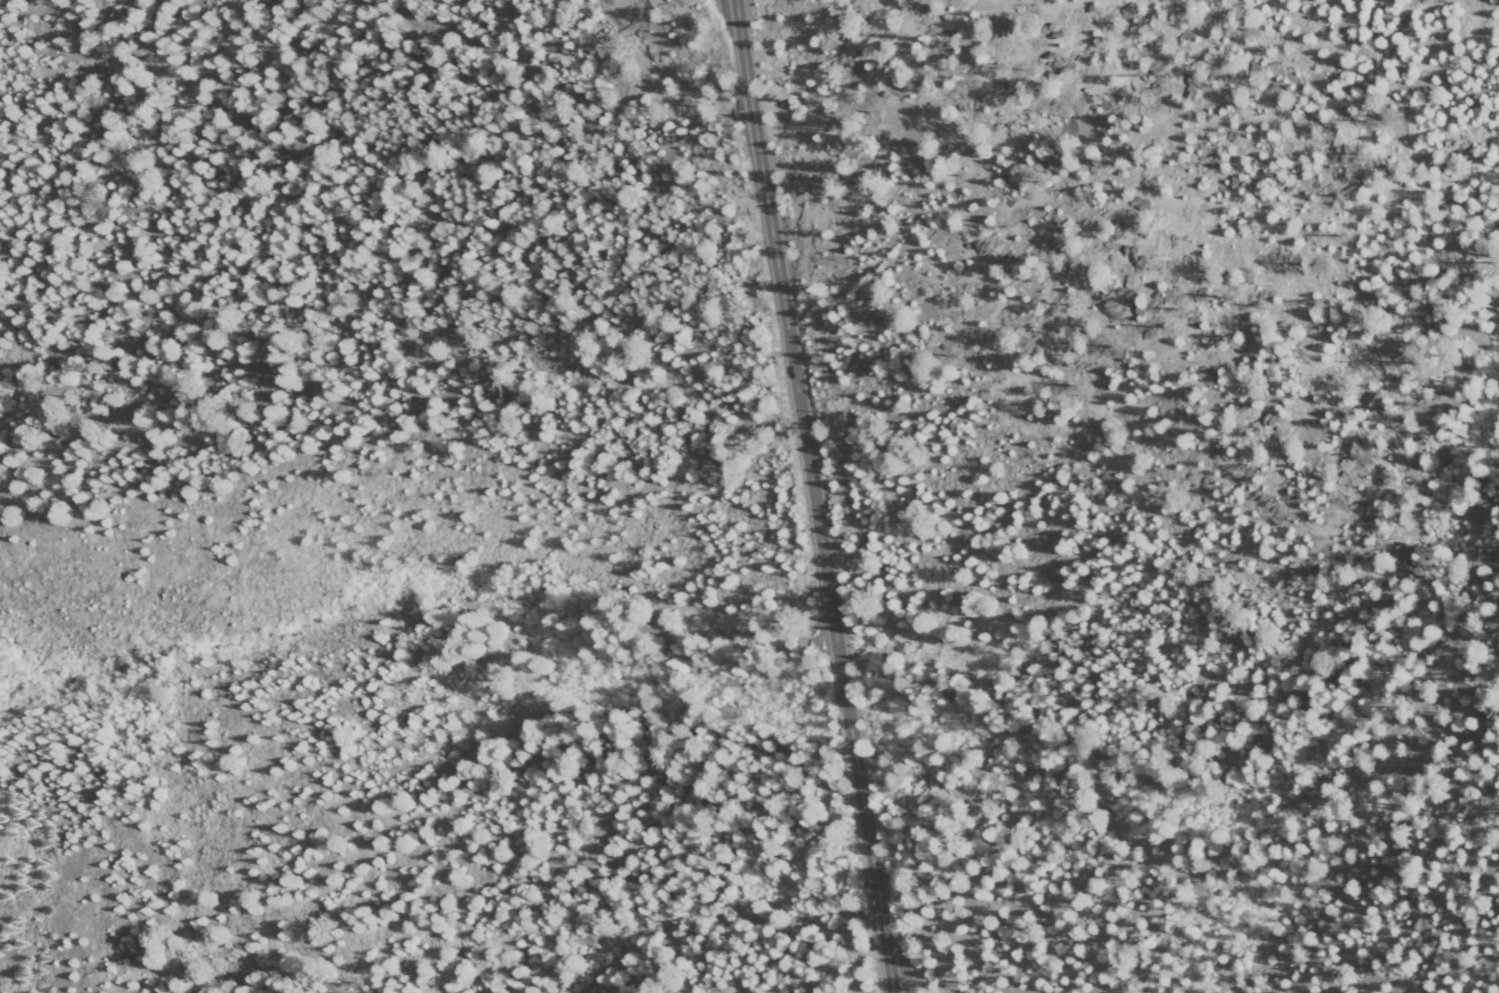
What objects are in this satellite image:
road: (819, 497)

